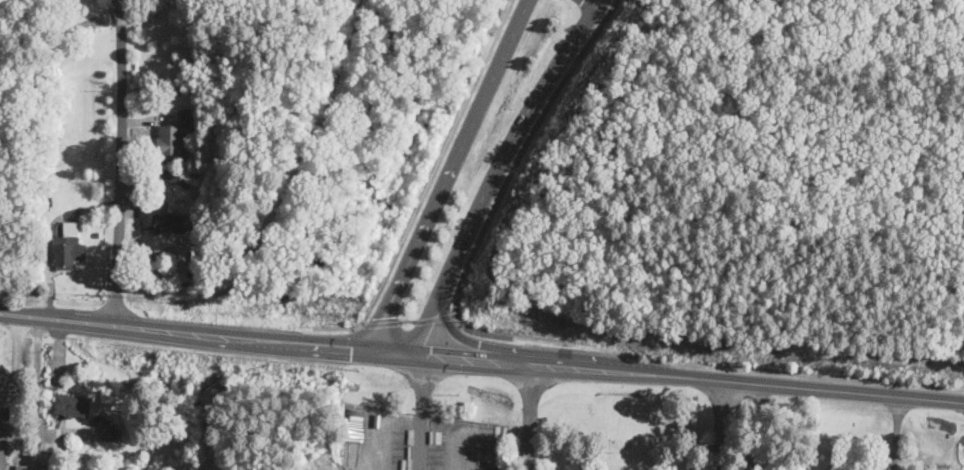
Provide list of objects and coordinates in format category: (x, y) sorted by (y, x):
road: (589, 4)
road: (122, 34)
building: (197, 102)
building: (171, 139)
road: (496, 168)
road: (450, 173)
road: (507, 179)
road: (428, 185)
road: (118, 197)
building: (46, 199)
building: (161, 219)
building: (96, 235)
building: (68, 248)
road: (9, 315)
traffic signals: (385, 316)
road: (27, 317)
road: (435, 317)
road: (407, 321)
road: (380, 323)
road: (203, 333)
road: (457, 333)
traffic signals: (352, 345)
road: (392, 347)
traffic signals: (479, 347)
traffic signals: (431, 351)
road: (15, 353)
road: (453, 353)
road: (512, 359)
road: (747, 383)
road: (5, 391)
road: (37, 404)
building: (72, 405)
road: (424, 408)
road: (528, 415)
road: (721, 425)
road: (755, 427)
building: (110, 431)
road: (896, 434)
building: (4, 436)
road: (17, 445)
road: (373, 447)
road: (465, 452)
road: (10, 461)
building: (22, 468)
building: (45, 469)
parking lot: (543, 469)

